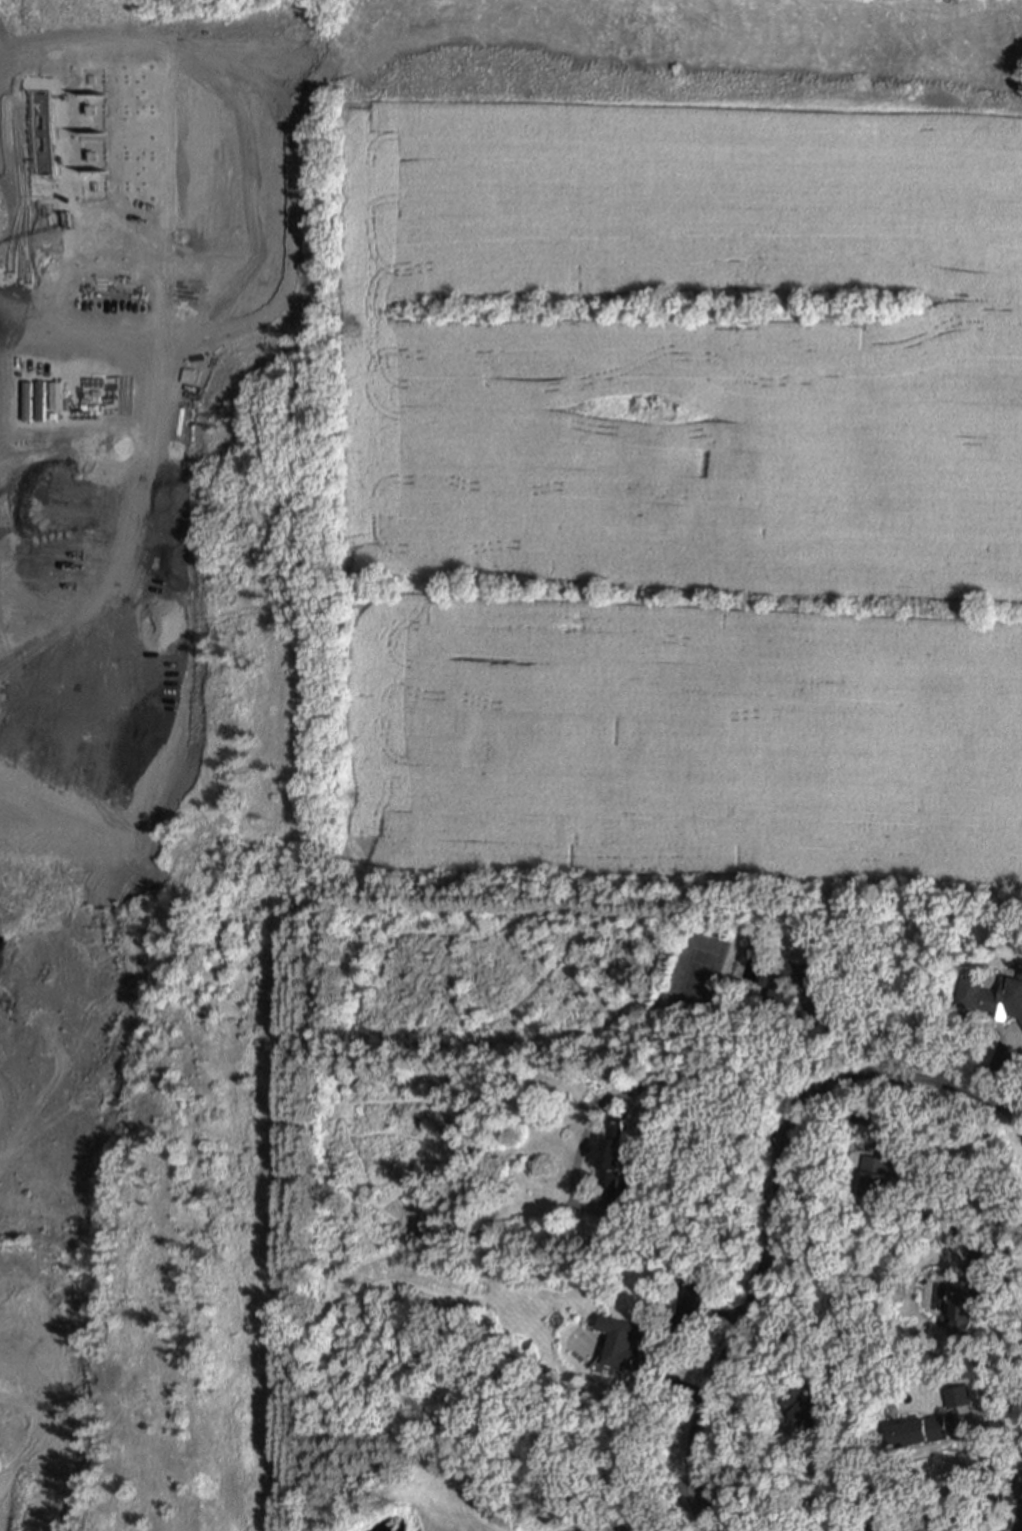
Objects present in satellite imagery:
crop: (669, 447)
quarry: (154, 751)
building: (789, 982)
building: (993, 995)
road: (867, 1028)
road: (654, 1083)
building: (614, 1163)
building: (876, 1176)
road: (778, 1203)
road: (990, 1219)
building: (951, 1227)
building: (687, 1278)
building: (966, 1299)
road: (661, 1332)
building: (629, 1345)
building: (810, 1409)
building: (920, 1431)
road: (754, 1479)
road: (1020, 1526)

